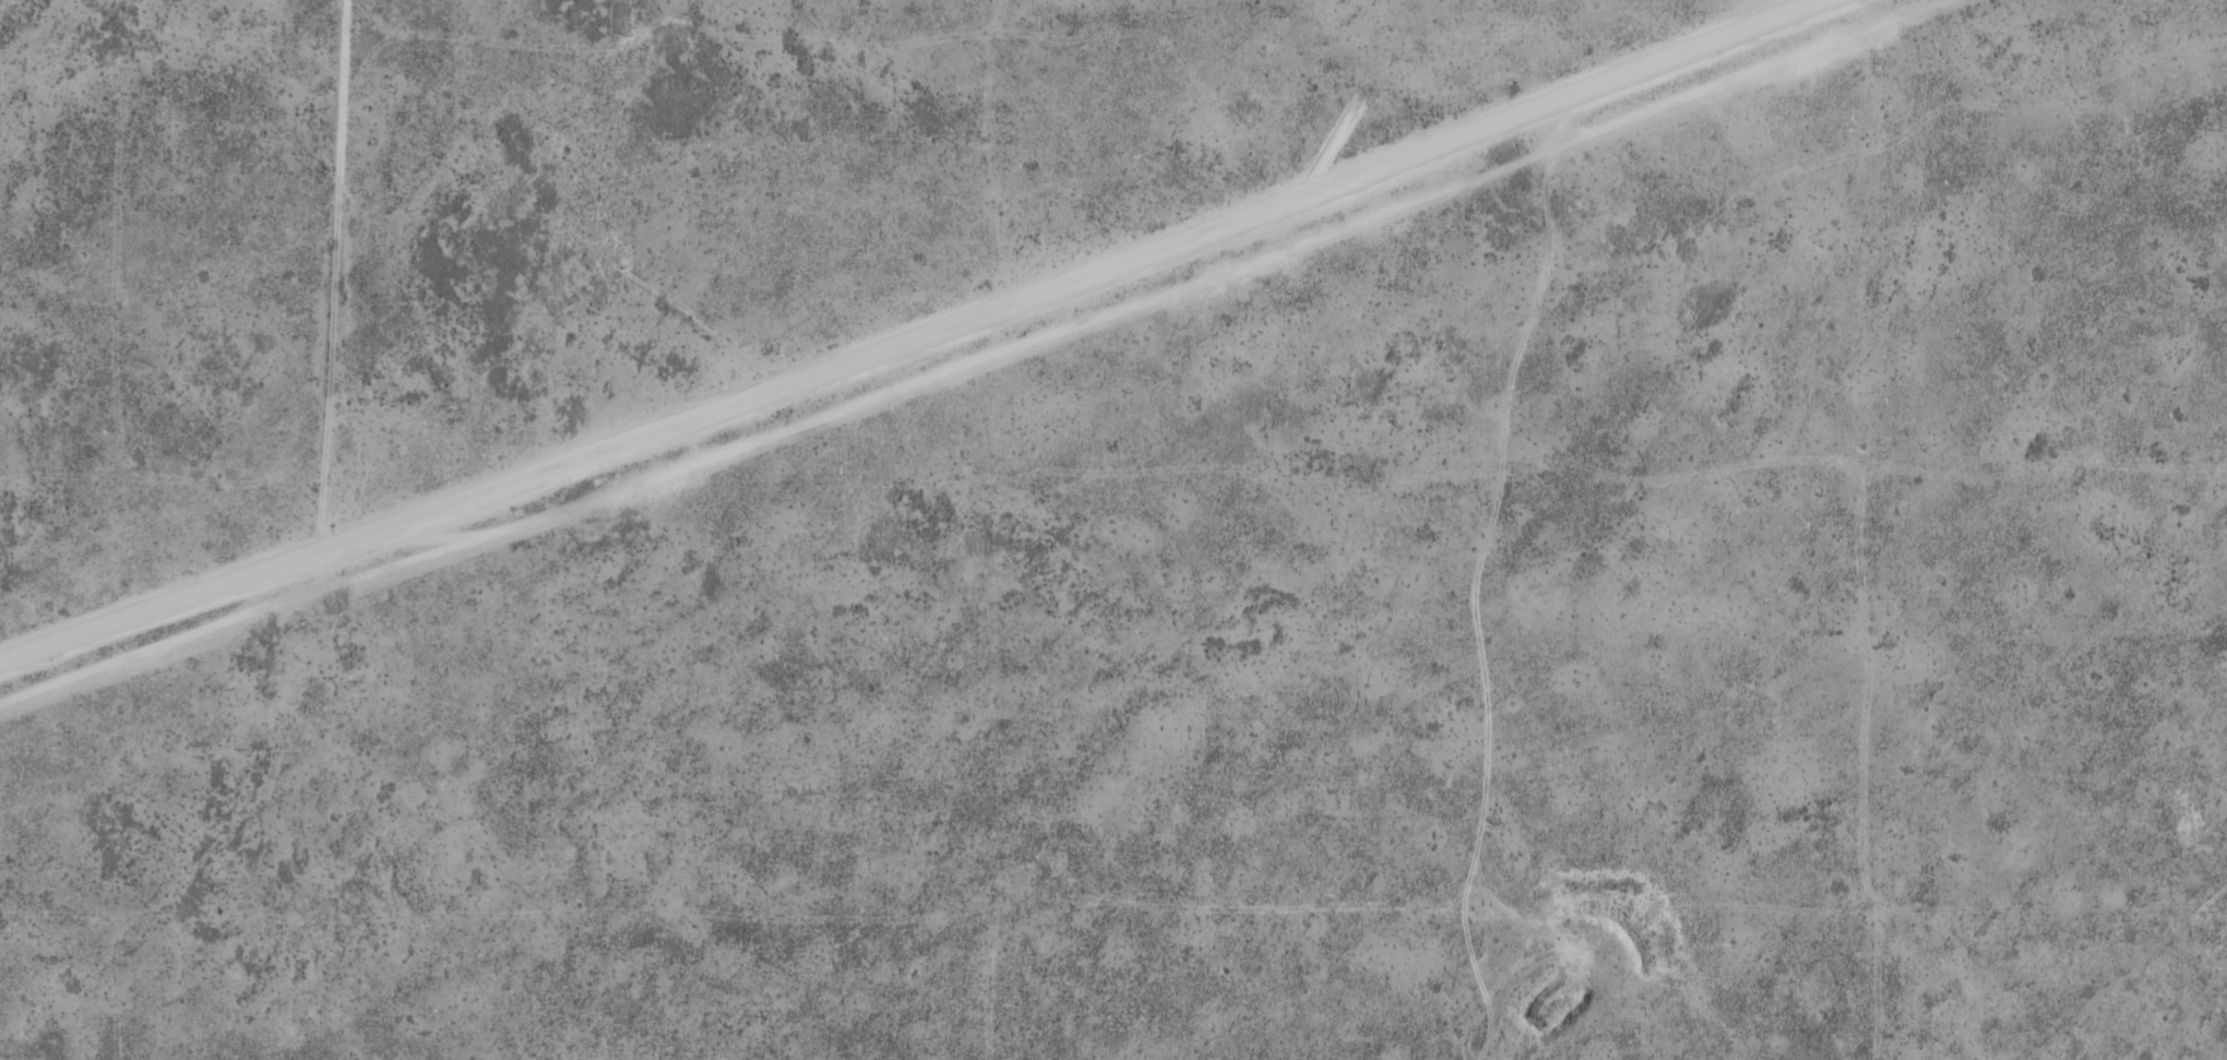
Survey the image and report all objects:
road: (892, 334)

